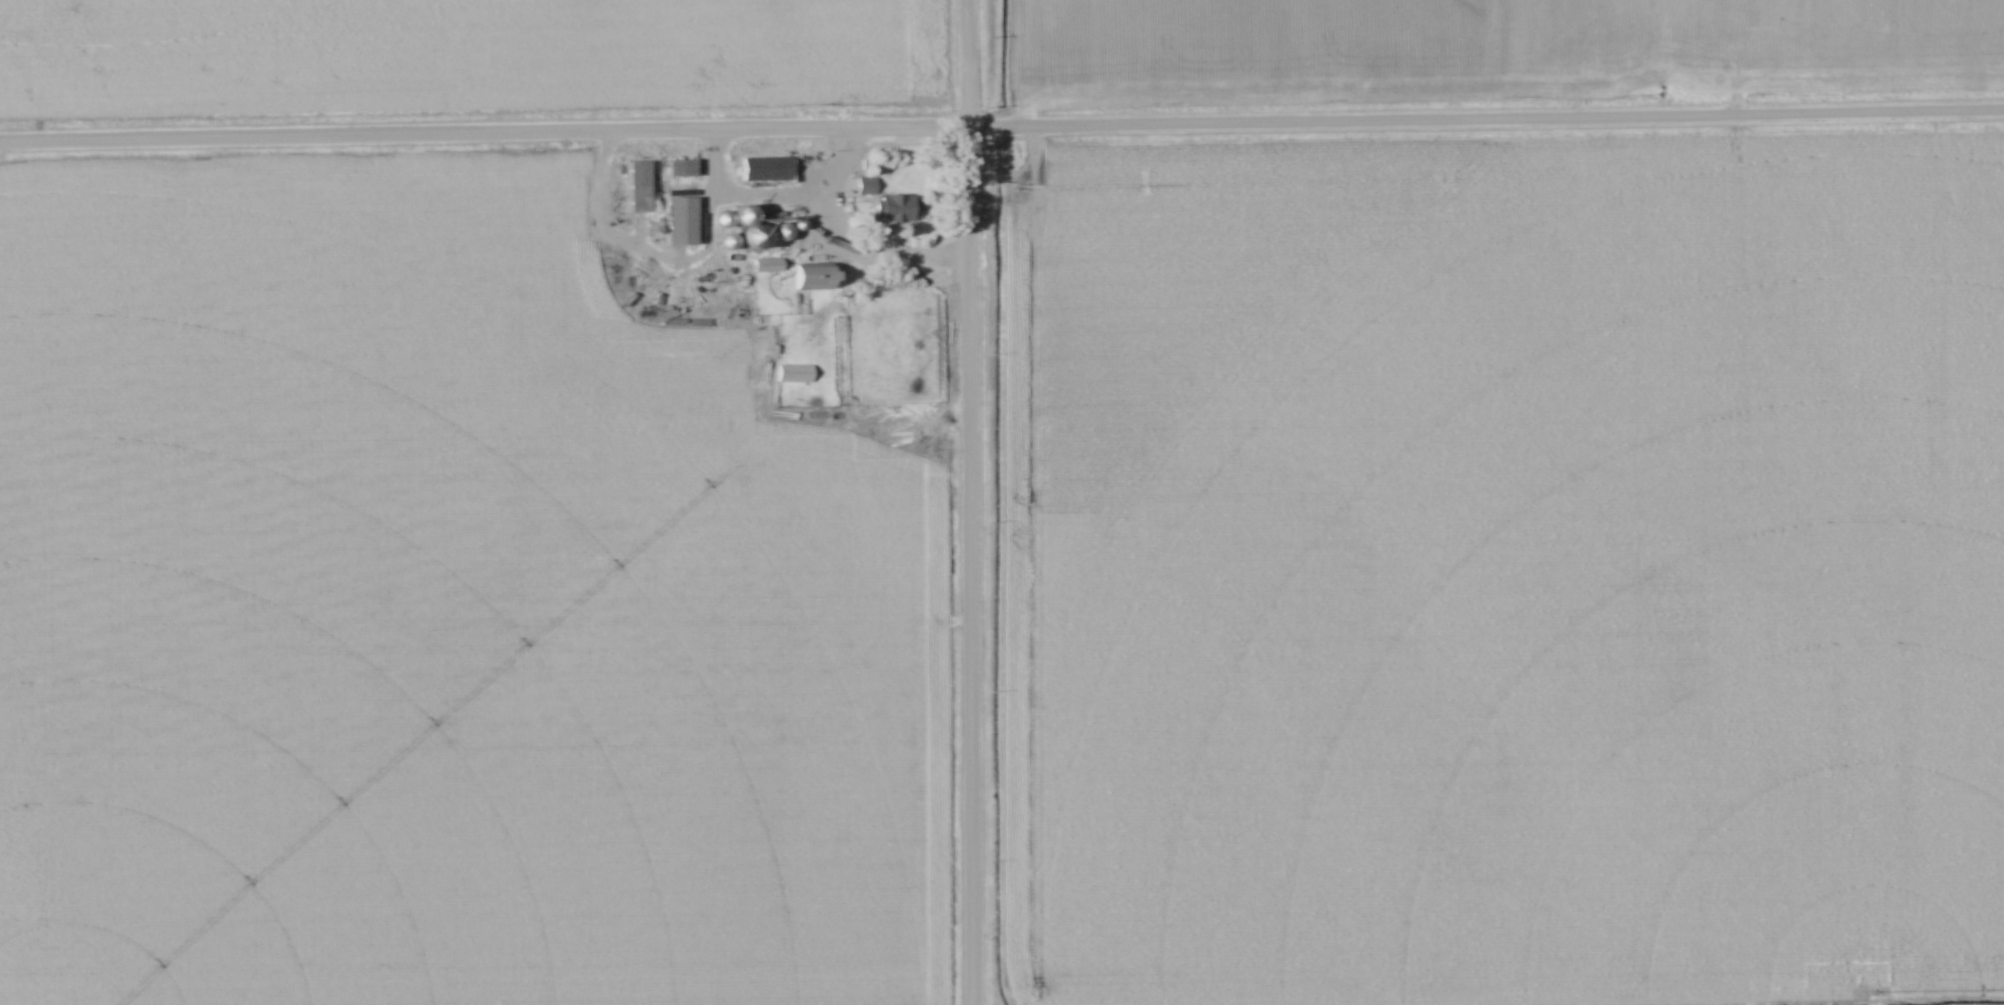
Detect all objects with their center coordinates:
crop: (1491, 50)
crop: (466, 60)
road: (1002, 128)
building: (680, 168)
building: (768, 169)
building: (641, 187)
building: (886, 204)
silo: (740, 213)
silo: (719, 218)
building: (682, 221)
silo: (798, 224)
silo: (780, 231)
silo: (756, 236)
silo: (730, 241)
road: (840, 250)
building: (764, 266)
building: (810, 279)
building: (795, 376)
building: (898, 421)
road: (969, 502)
crop: (1522, 570)
crop: (437, 614)

